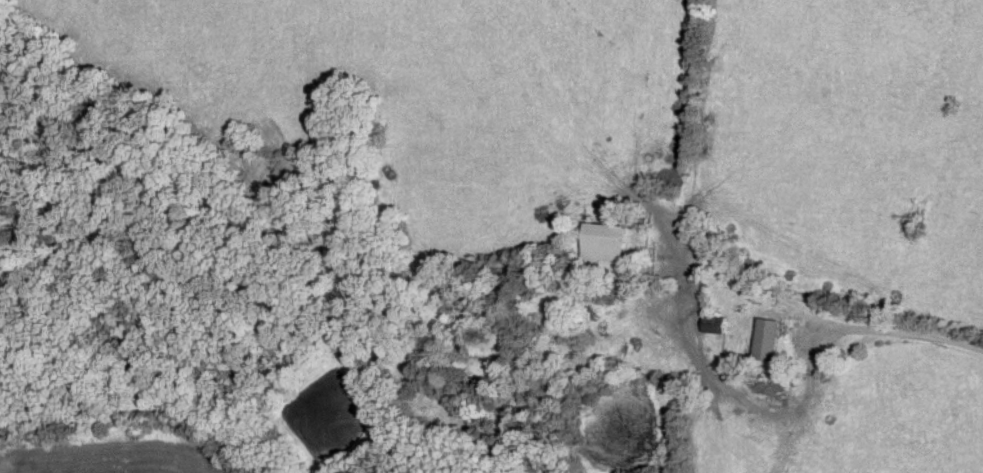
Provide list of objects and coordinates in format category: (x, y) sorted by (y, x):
building: (602, 243)
road: (782, 318)
building: (712, 325)
building: (766, 341)
building: (380, 355)

